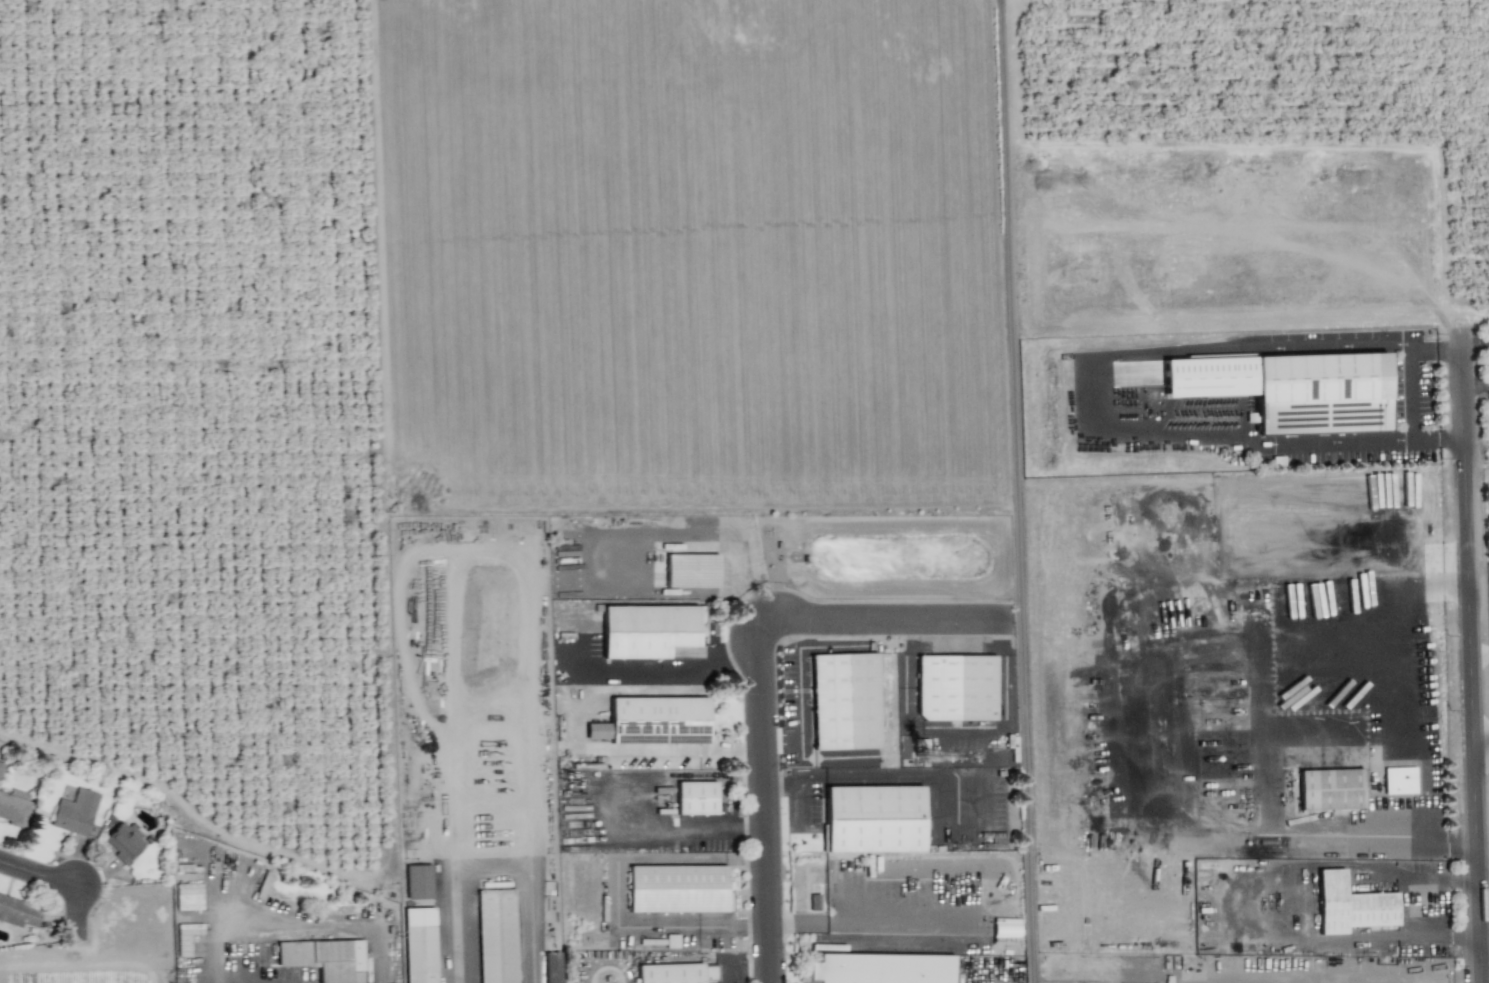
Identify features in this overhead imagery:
road: (1010, 310)
road: (1475, 345)
road: (1305, 346)
road: (1476, 386)
building: (1292, 389)
road: (1408, 398)
road: (1236, 430)
road: (1438, 446)
building: (693, 573)
road: (939, 622)
building: (648, 633)
road: (1480, 653)
road: (1473, 656)
road: (676, 671)
building: (958, 690)
building: (846, 705)
building: (660, 722)
road: (1482, 744)
road: (765, 756)
building: (1, 768)
building: (1399, 780)
building: (1330, 789)
building: (697, 801)
road: (1024, 802)
building: (15, 806)
building: (75, 812)
building: (875, 821)
road: (1393, 839)
building: (124, 842)
road: (14, 867)
road: (492, 872)
building: (420, 884)
road: (73, 891)
building: (678, 892)
building: (1350, 905)
building: (18, 912)
building: (1005, 928)
building: (498, 937)
building: (421, 946)
building: (325, 959)
building: (552, 967)
building: (884, 970)
building: (678, 975)

